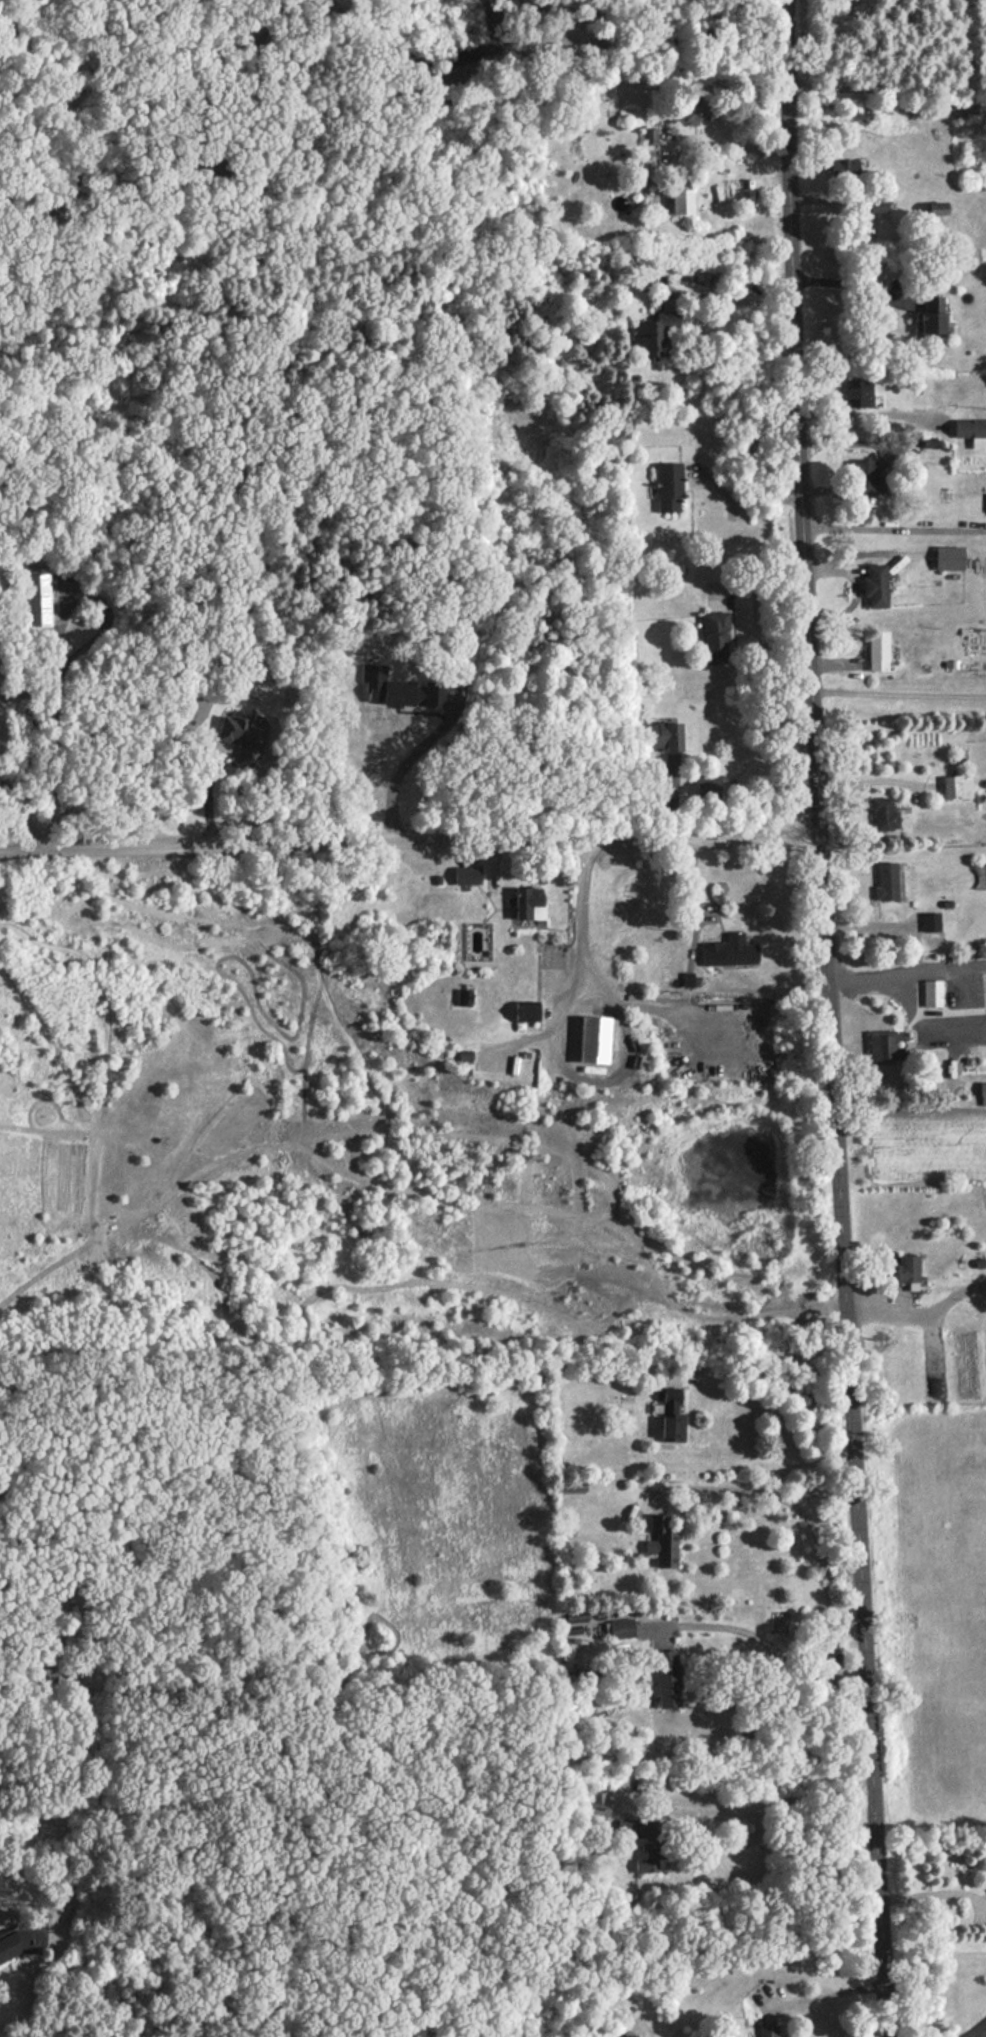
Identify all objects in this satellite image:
road: (885, 88)
building: (689, 111)
building: (649, 134)
road: (728, 147)
building: (842, 168)
building: (680, 200)
building: (878, 204)
building: (936, 207)
road: (852, 287)
road: (735, 302)
building: (931, 314)
building: (654, 332)
building: (860, 391)
road: (865, 428)
building: (971, 430)
building: (861, 467)
building: (668, 485)
road: (741, 496)
road: (893, 542)
building: (949, 557)
building: (875, 585)
building: (37, 598)
road: (757, 609)
building: (714, 635)
building: (877, 650)
building: (399, 689)
road: (896, 691)
building: (662, 735)
building: (241, 737)
building: (672, 768)
road: (406, 783)
building: (707, 784)
building: (957, 785)
road: (22, 813)
building: (883, 813)
road: (405, 846)
building: (466, 874)
building: (886, 881)
building: (528, 902)
building: (931, 921)
building: (728, 950)
road: (903, 969)
road: (583, 975)
building: (932, 992)
building: (524, 1012)
road: (823, 1018)
building: (593, 1038)
building: (882, 1045)
building: (982, 1092)
building: (907, 1270)
road: (914, 1303)
road: (785, 1389)
building: (671, 1415)
road: (780, 1490)
building: (661, 1541)
building: (575, 1616)
building: (620, 1627)
road: (770, 1640)
building: (666, 1678)
building: (597, 1803)
road: (750, 1803)
building: (639, 1841)
road: (932, 1896)
building: (22, 1939)
road: (827, 1995)
building: (766, 2030)
road: (979, 2032)
building: (624, 2035)

